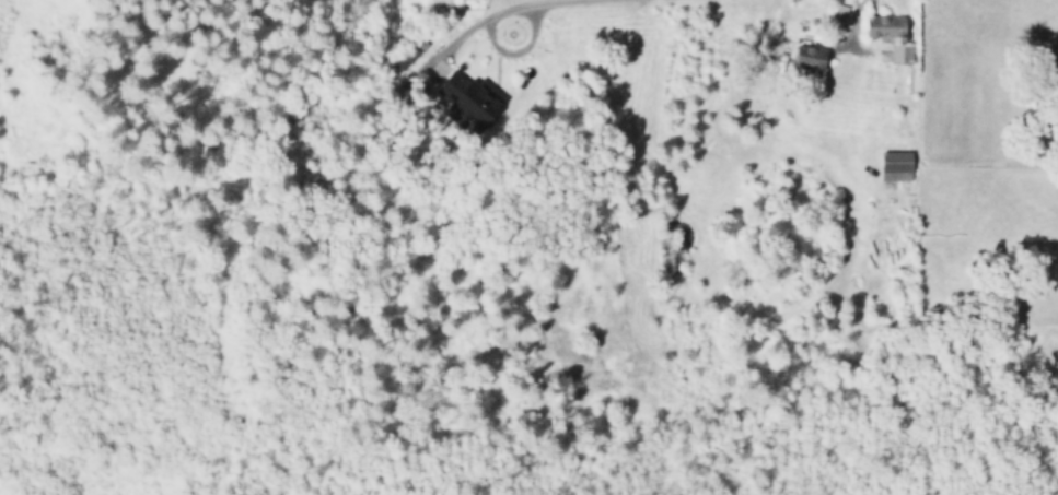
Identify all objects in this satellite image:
road: (544, 3)
building: (892, 35)
road: (850, 36)
road: (495, 47)
building: (811, 57)
building: (896, 165)

